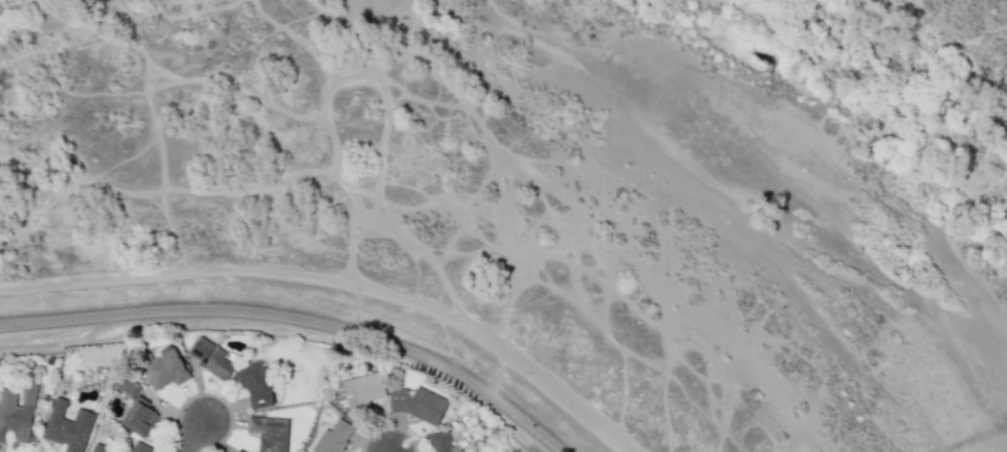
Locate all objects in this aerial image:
road: (345, 210)
road: (509, 274)
road: (337, 280)
road: (296, 319)
building: (209, 356)
building: (164, 369)
building: (126, 385)
building: (255, 386)
building: (362, 390)
building: (416, 404)
building: (16, 414)
building: (138, 416)
building: (67, 426)
building: (269, 433)
road: (197, 437)
building: (333, 437)
building: (441, 442)
park: (497, 444)
building: (138, 447)
building: (100, 448)
building: (237, 451)

